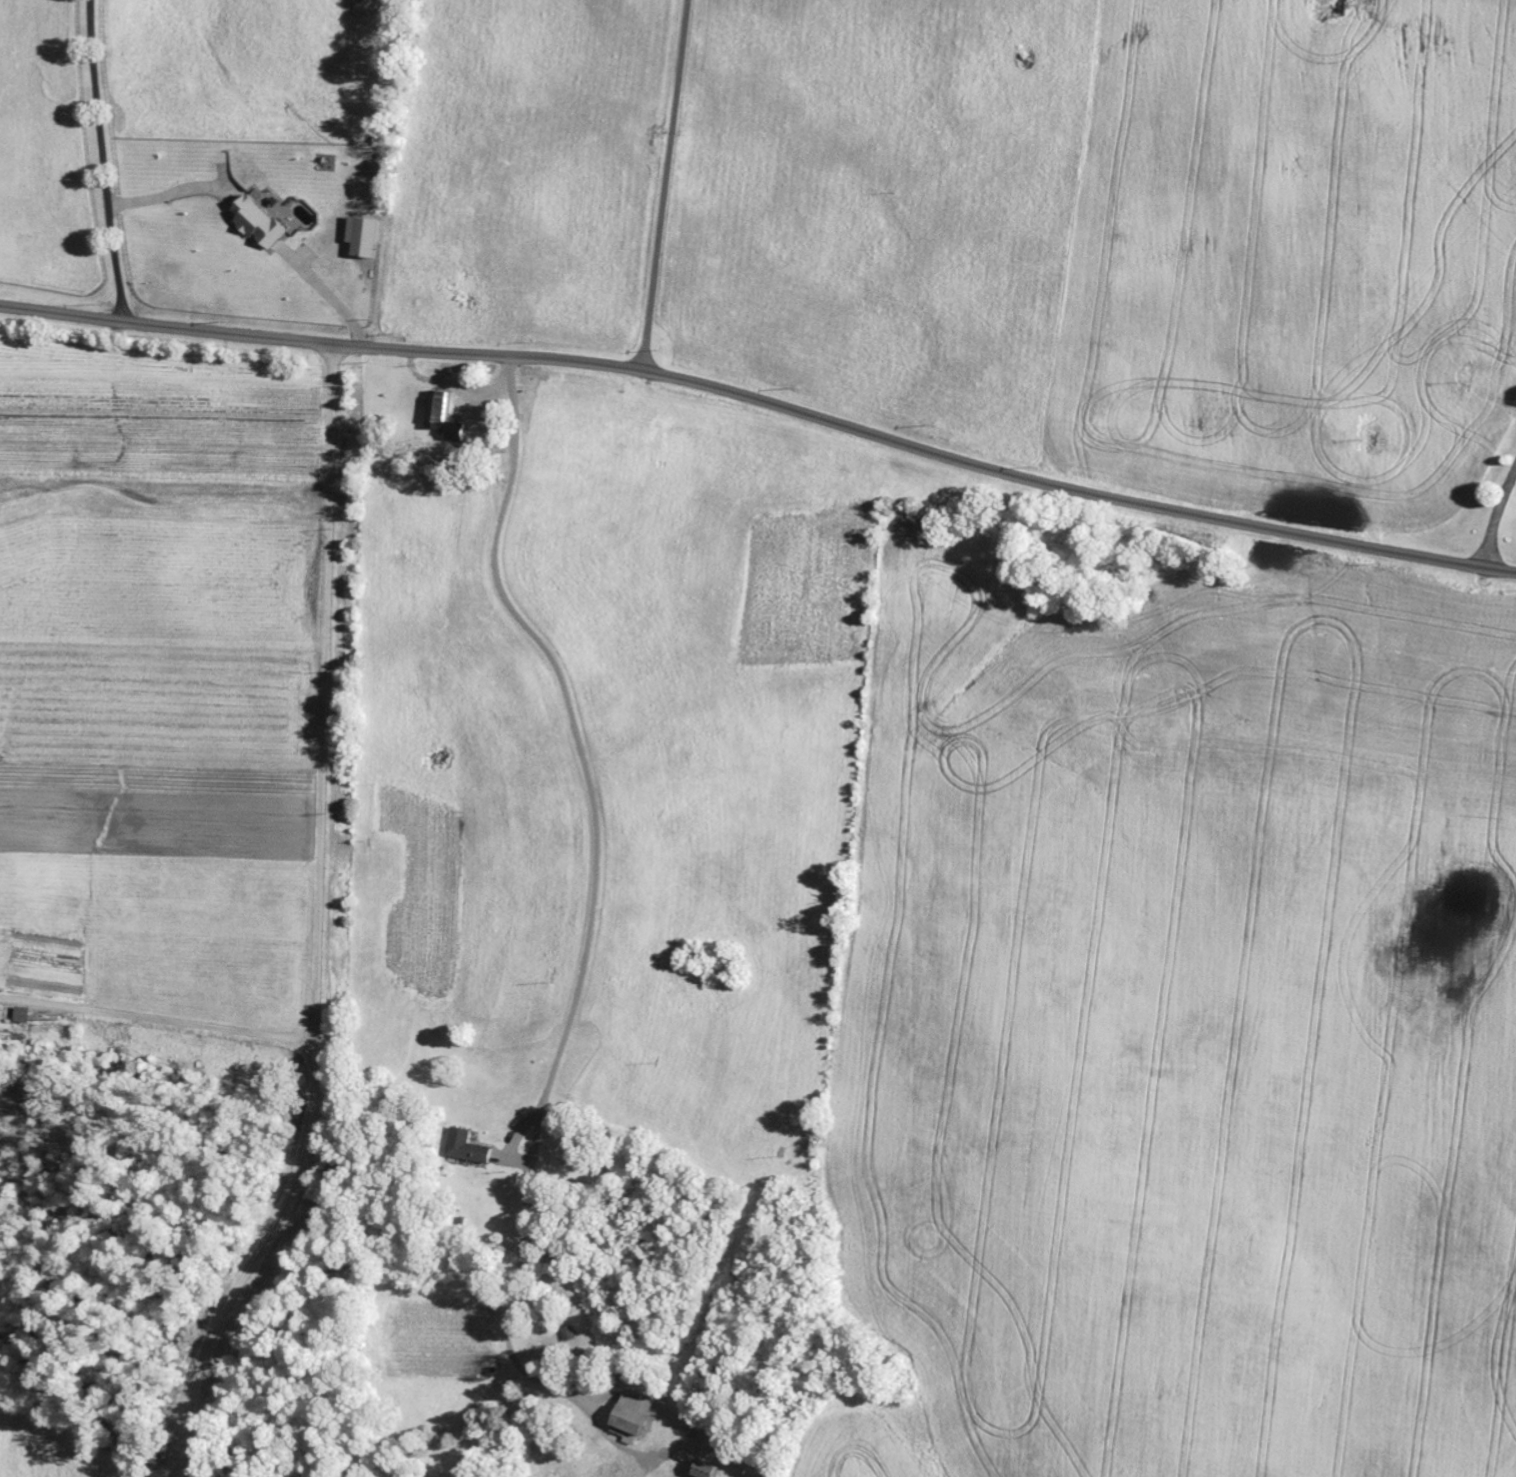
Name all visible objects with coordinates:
road: (102, 161)
road: (666, 186)
building: (258, 223)
building: (363, 236)
road: (764, 404)
road: (592, 897)
road: (314, 925)
building: (468, 1148)
building: (569, 1335)
building: (632, 1418)
building: (707, 1470)

